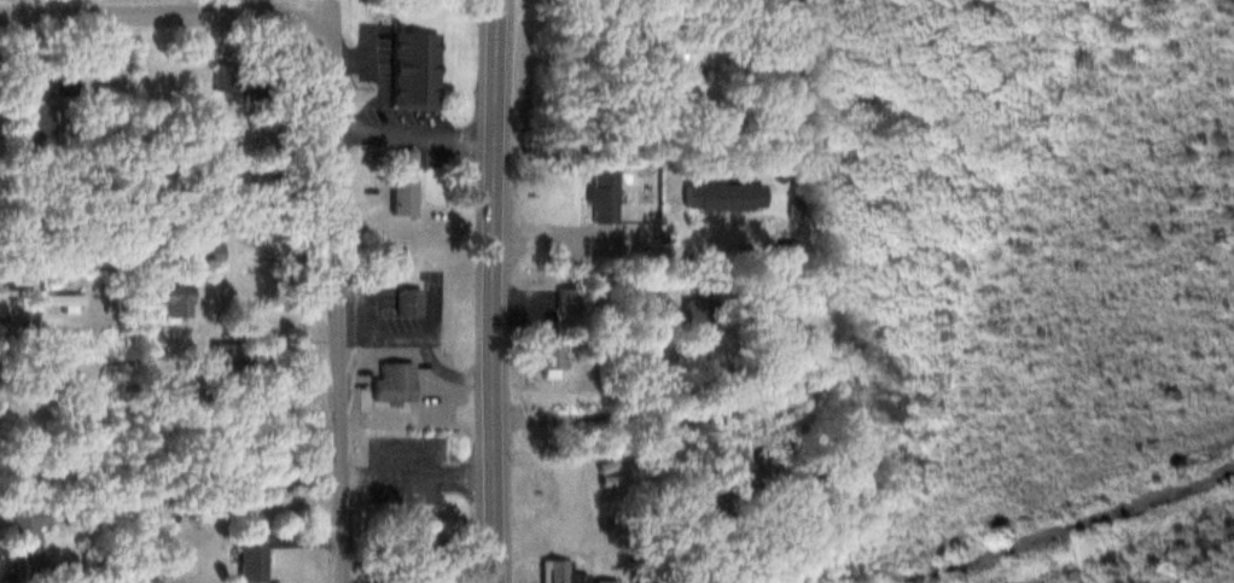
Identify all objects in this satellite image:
road: (164, 14)
building: (413, 69)
building: (679, 71)
building: (223, 76)
building: (54, 82)
building: (256, 84)
building: (37, 124)
road: (414, 134)
building: (400, 181)
building: (600, 194)
building: (721, 196)
building: (251, 210)
building: (202, 251)
road: (650, 252)
road: (336, 291)
road: (495, 291)
building: (163, 297)
building: (567, 298)
building: (53, 299)
building: (406, 302)
road: (385, 334)
building: (245, 354)
building: (549, 358)
road: (431, 362)
building: (392, 383)
road: (619, 393)
building: (209, 401)
road: (648, 419)
road: (419, 477)
building: (738, 483)
road: (1059, 523)
building: (27, 525)
building: (251, 555)
building: (419, 559)
building: (35, 565)
building: (559, 572)
building: (604, 581)

